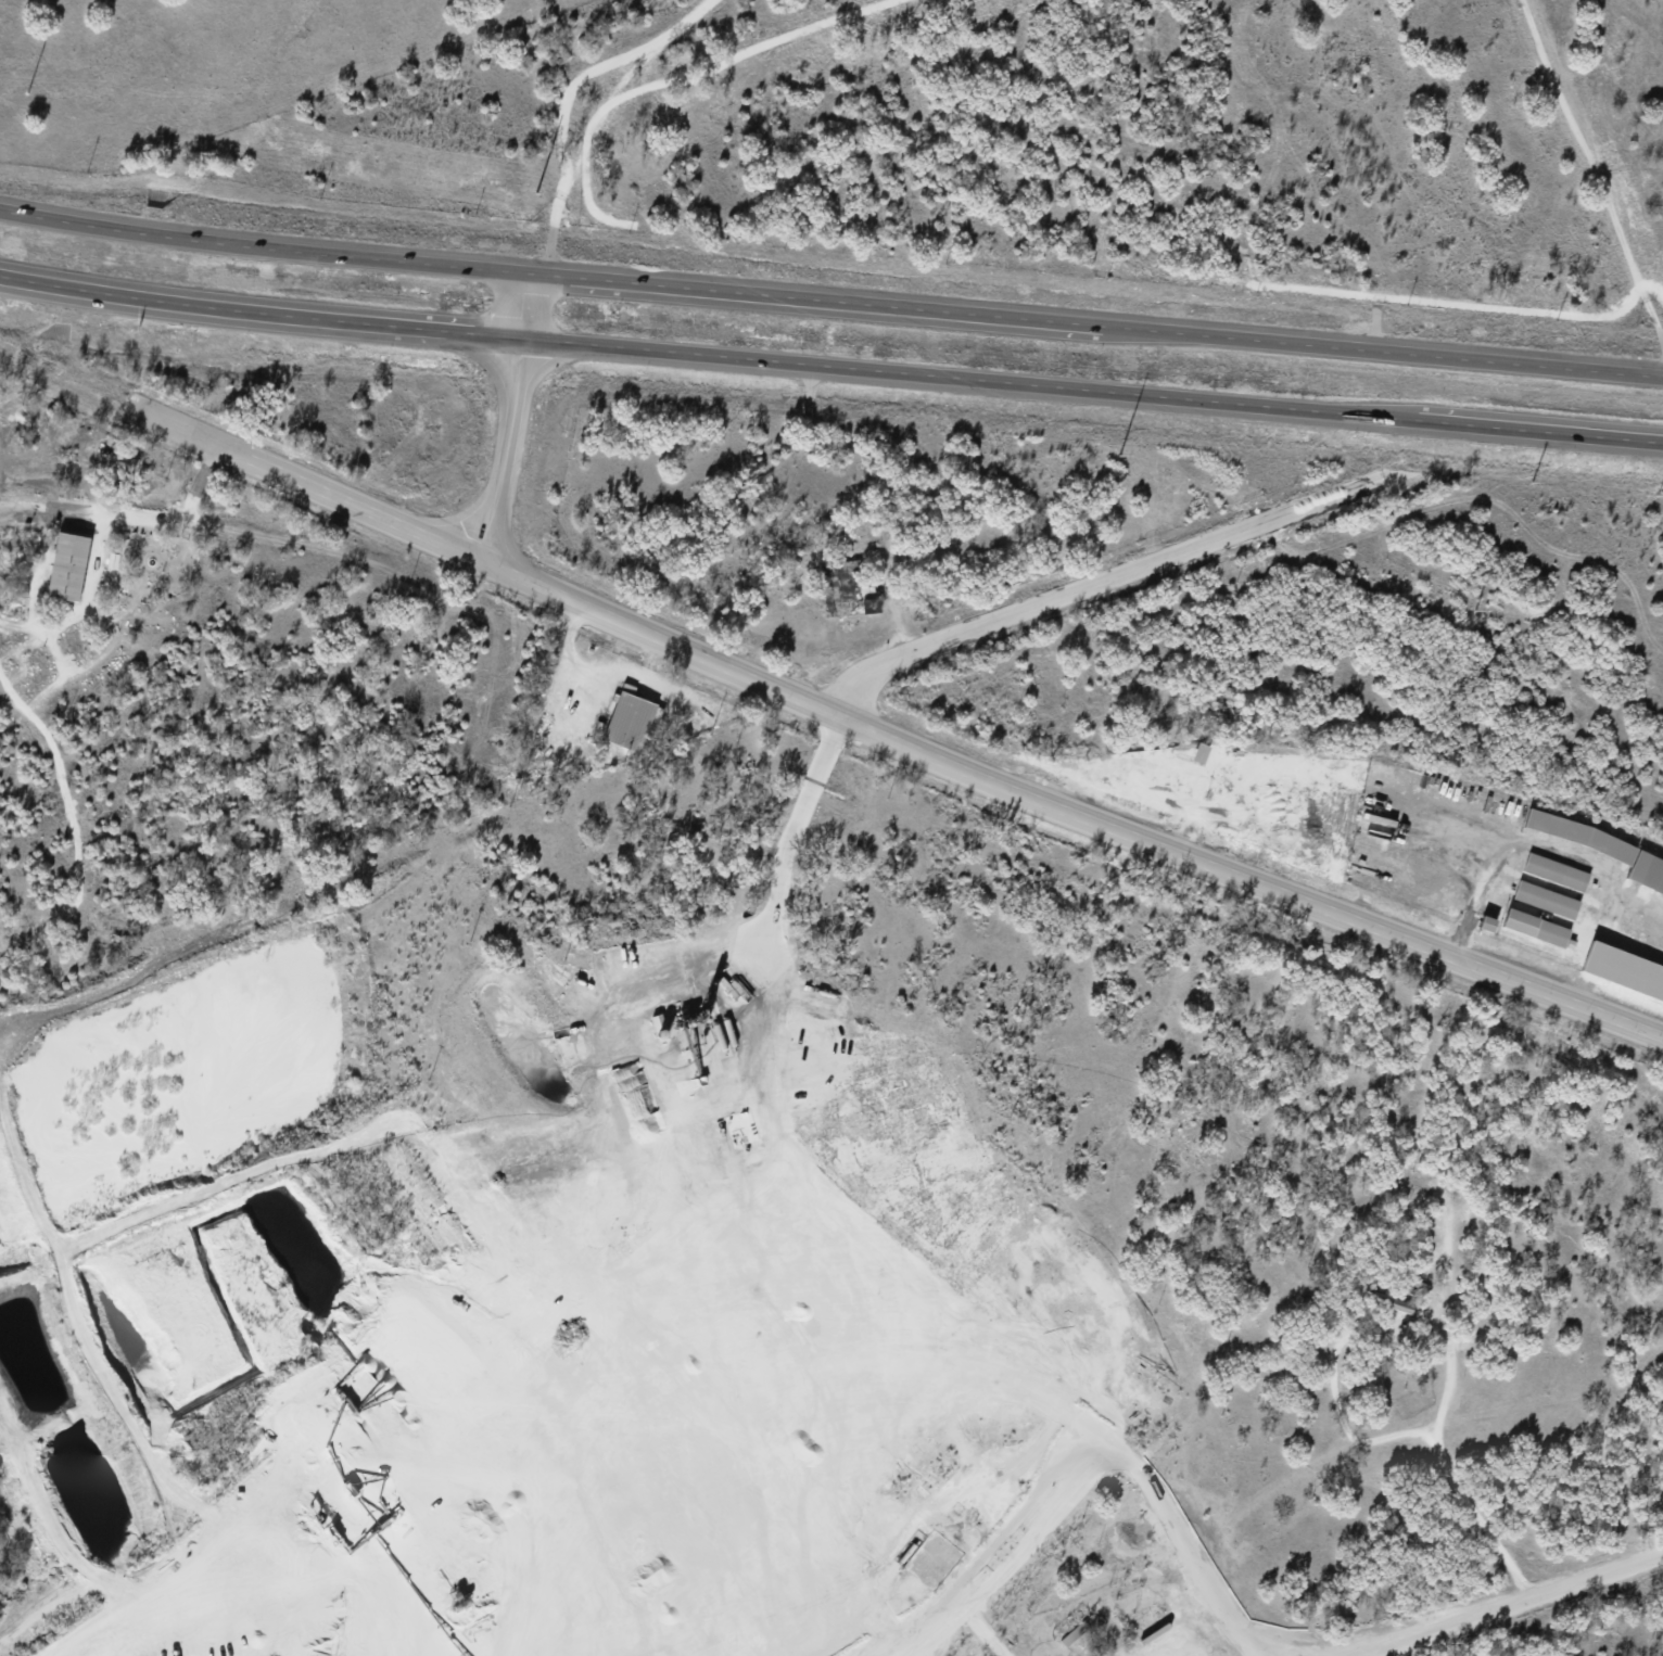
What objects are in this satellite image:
power tower: (26, 91)
road: (567, 109)
road: (1597, 183)
power tower: (534, 193)
road: (830, 300)
road: (830, 367)
road: (513, 417)
power tower: (1116, 455)
road: (307, 476)
road: (176, 515)
building: (67, 565)
road: (1099, 585)
power tower: (1472, 608)
building: (630, 722)
building: (1199, 752)
road: (1062, 811)
building: (1604, 850)
road: (1570, 853)
building: (1554, 871)
building: (1545, 899)
building: (1486, 923)
building: (1535, 927)
building: (1391, 1301)
road: (1443, 1466)
road: (1192, 1554)
road: (1013, 1555)
road: (1507, 1604)

